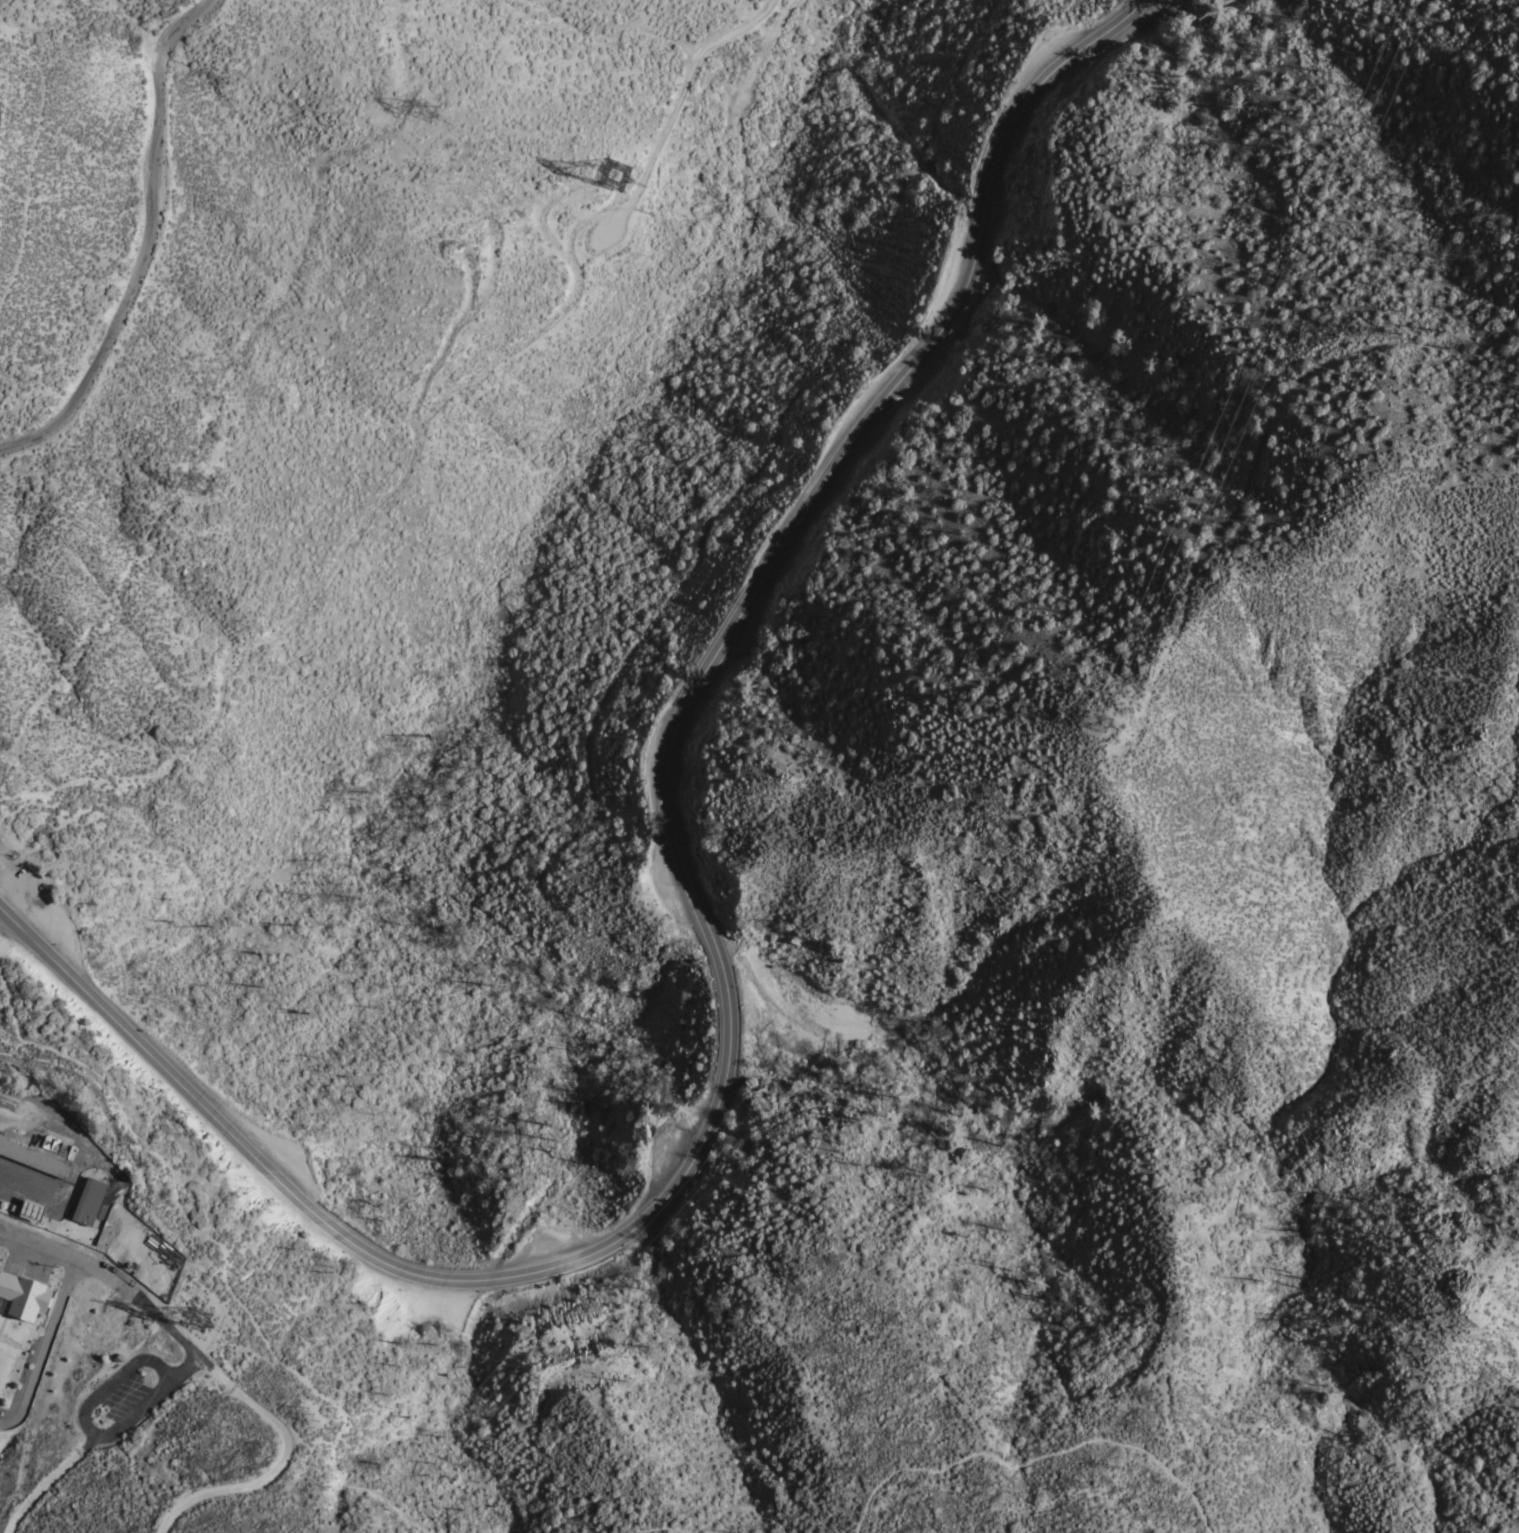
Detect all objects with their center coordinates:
road: (741, 17)
power tower: (434, 116)
road: (36, 147)
power tower: (617, 192)
road: (150, 243)
quarry: (472, 255)
road: (496, 260)
road: (576, 293)
road: (229, 381)
road: (232, 654)
power tower: (1108, 727)
road: (715, 942)
building: (33, 1157)
building: (91, 1198)
building: (108, 1198)
building: (29, 1210)
power tower: (707, 1219)
road: (11, 1242)
road: (221, 1259)
parking lot: (11, 1268)
road: (115, 1283)
building: (23, 1295)
road: (3, 1320)
power tower: (202, 1328)
road: (43, 1346)
road: (238, 1346)
parking lot: (121, 1397)
road: (89, 1430)
road: (309, 1443)
road: (1039, 1455)
road: (271, 1465)
road: (48, 1479)
road: (1020, 1504)
road: (665, 1527)

